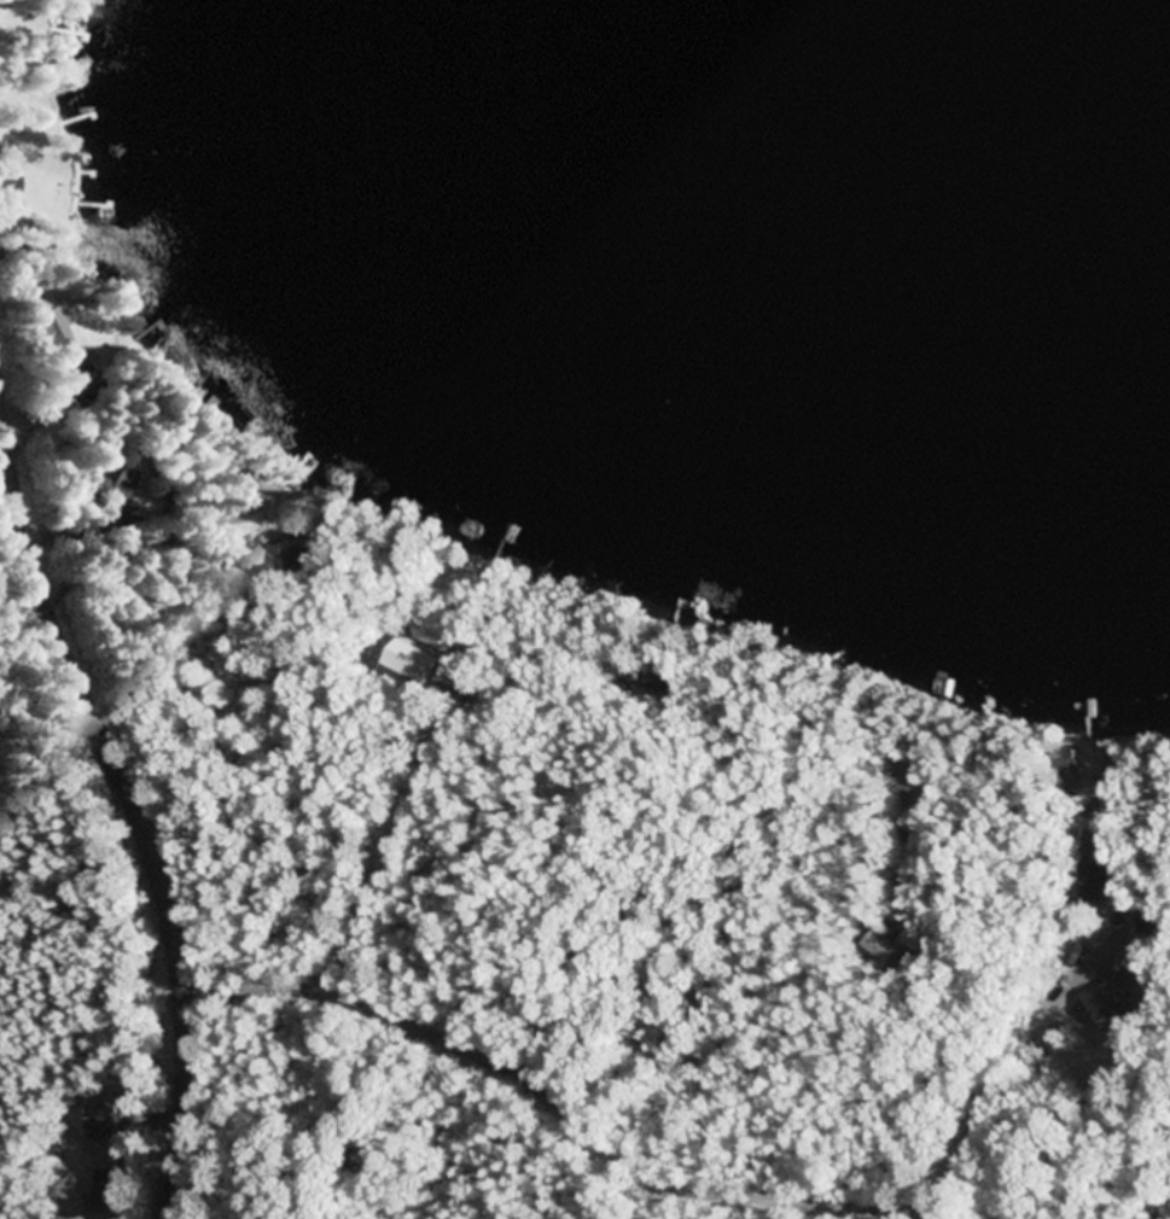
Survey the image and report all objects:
building: (6, 188)
building: (50, 329)
building: (74, 367)
building: (110, 486)
building: (234, 492)
building: (291, 556)
building: (430, 635)
building: (414, 669)
building: (650, 680)
road: (411, 739)
building: (1061, 759)
road: (139, 827)
building: (1090, 882)
building: (100, 1119)
road: (705, 1171)
building: (101, 1194)

